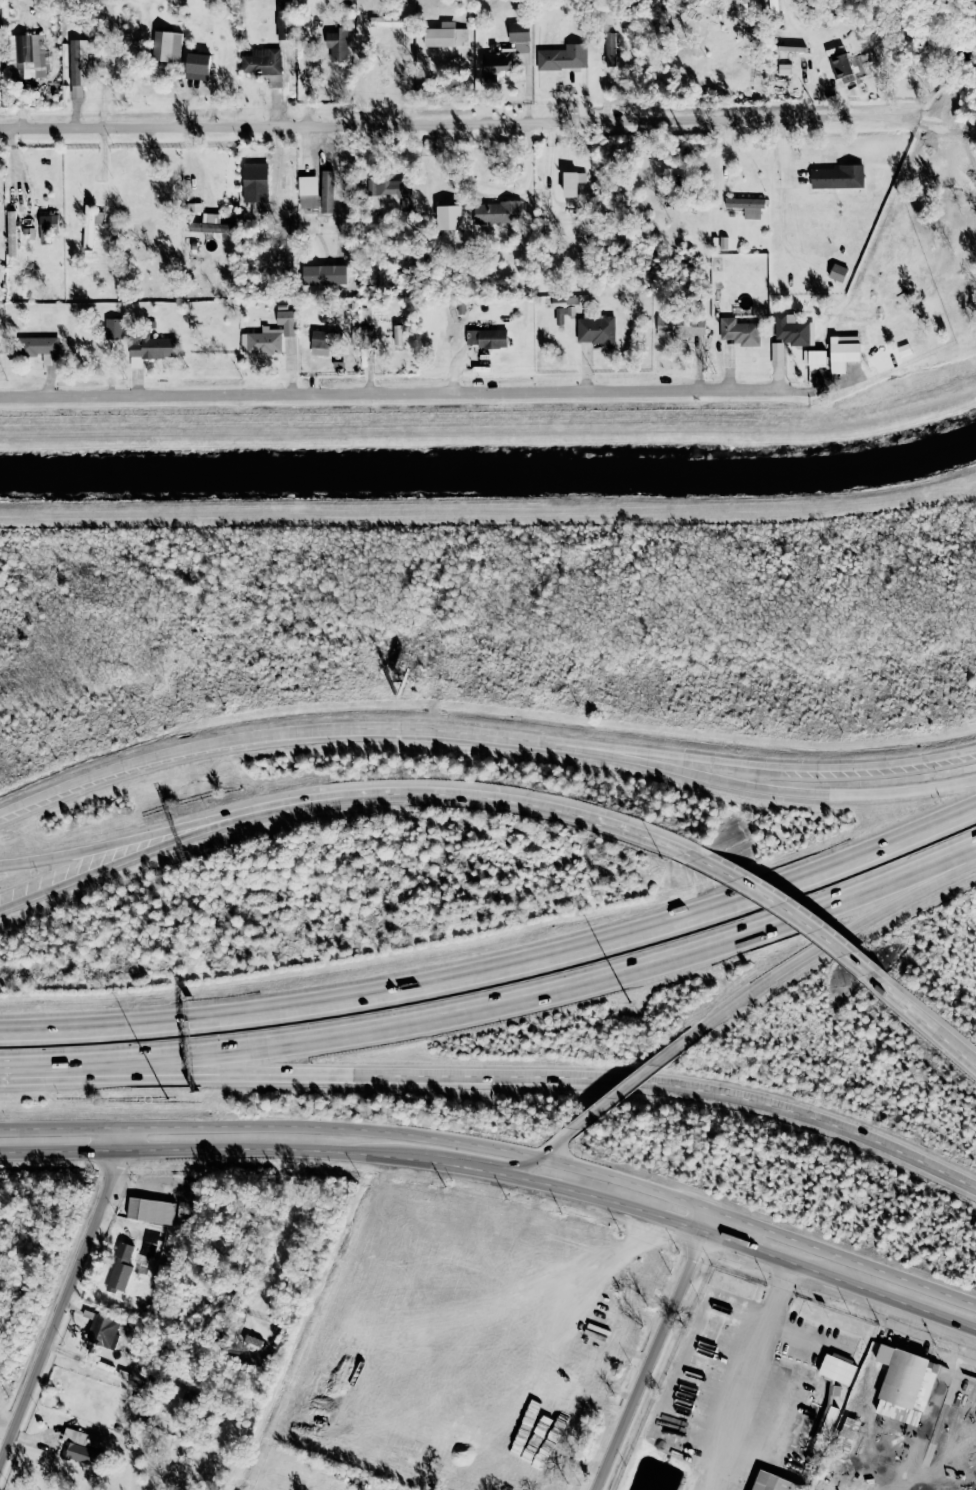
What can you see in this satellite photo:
building: (284, 20)
building: (385, 21)
building: (518, 31)
building: (445, 35)
building: (338, 44)
building: (167, 46)
building: (610, 49)
building: (27, 56)
building: (563, 57)
building: (264, 64)
building: (496, 64)
building: (79, 66)
building: (198, 66)
building: (841, 67)
road: (306, 78)
road: (410, 123)
building: (838, 177)
building: (255, 182)
building: (570, 184)
building: (392, 190)
building: (327, 191)
building: (308, 192)
building: (747, 206)
building: (498, 212)
building: (449, 217)
building: (211, 224)
building: (90, 225)
building: (47, 226)
building: (11, 233)
building: (563, 254)
building: (838, 272)
building: (324, 274)
building: (564, 307)
building: (286, 320)
building: (680, 325)
building: (114, 329)
building: (596, 329)
building: (792, 330)
building: (739, 331)
building: (397, 334)
building: (486, 337)
building: (365, 338)
building: (262, 341)
building: (321, 342)
building: (151, 346)
building: (39, 347)
building: (843, 352)
building: (776, 354)
building: (814, 358)
road: (398, 392)
road: (483, 731)
road: (775, 788)
road: (459, 796)
road: (104, 847)
road: (103, 866)
road: (794, 916)
road: (826, 946)
road: (498, 971)
road: (585, 983)
road: (927, 1021)
road: (90, 1067)
road: (586, 1084)
road: (628, 1088)
road: (272, 1126)
road: (211, 1154)
road: (545, 1157)
road: (469, 1167)
building: (151, 1210)
road: (760, 1227)
road: (747, 1248)
building: (120, 1268)
road: (65, 1297)
building: (103, 1331)
road: (654, 1349)
road: (747, 1360)
building: (837, 1369)
building: (138, 1377)
building: (904, 1384)
building: (826, 1418)
building: (81, 1448)
building: (774, 1483)

